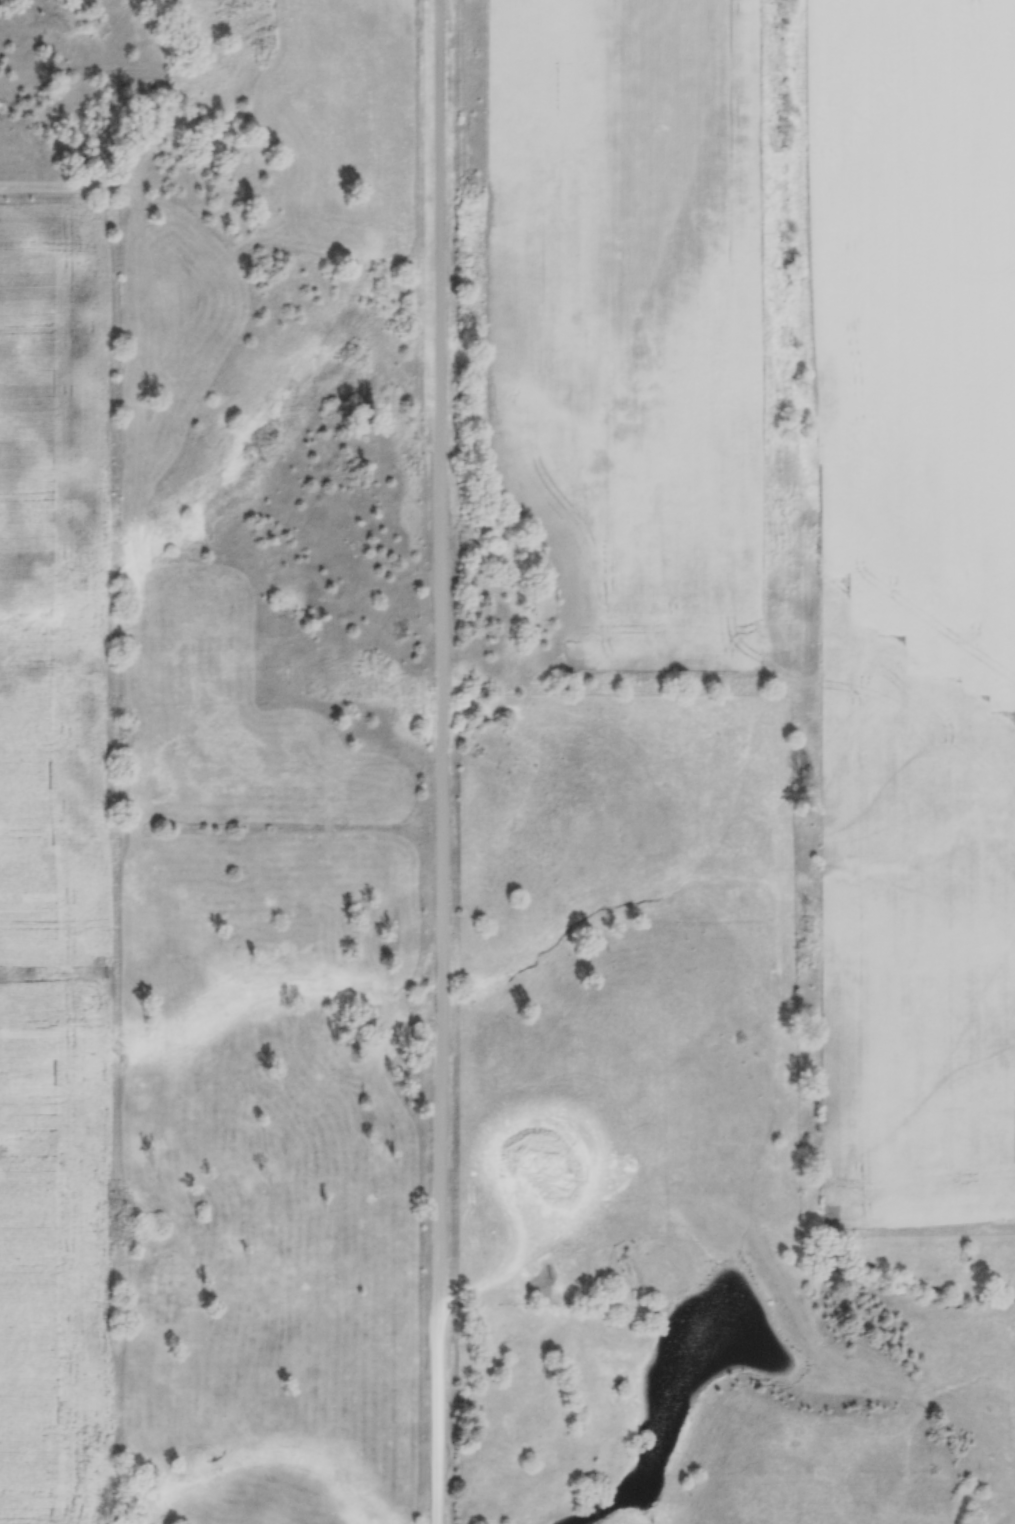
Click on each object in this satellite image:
road: (442, 761)

